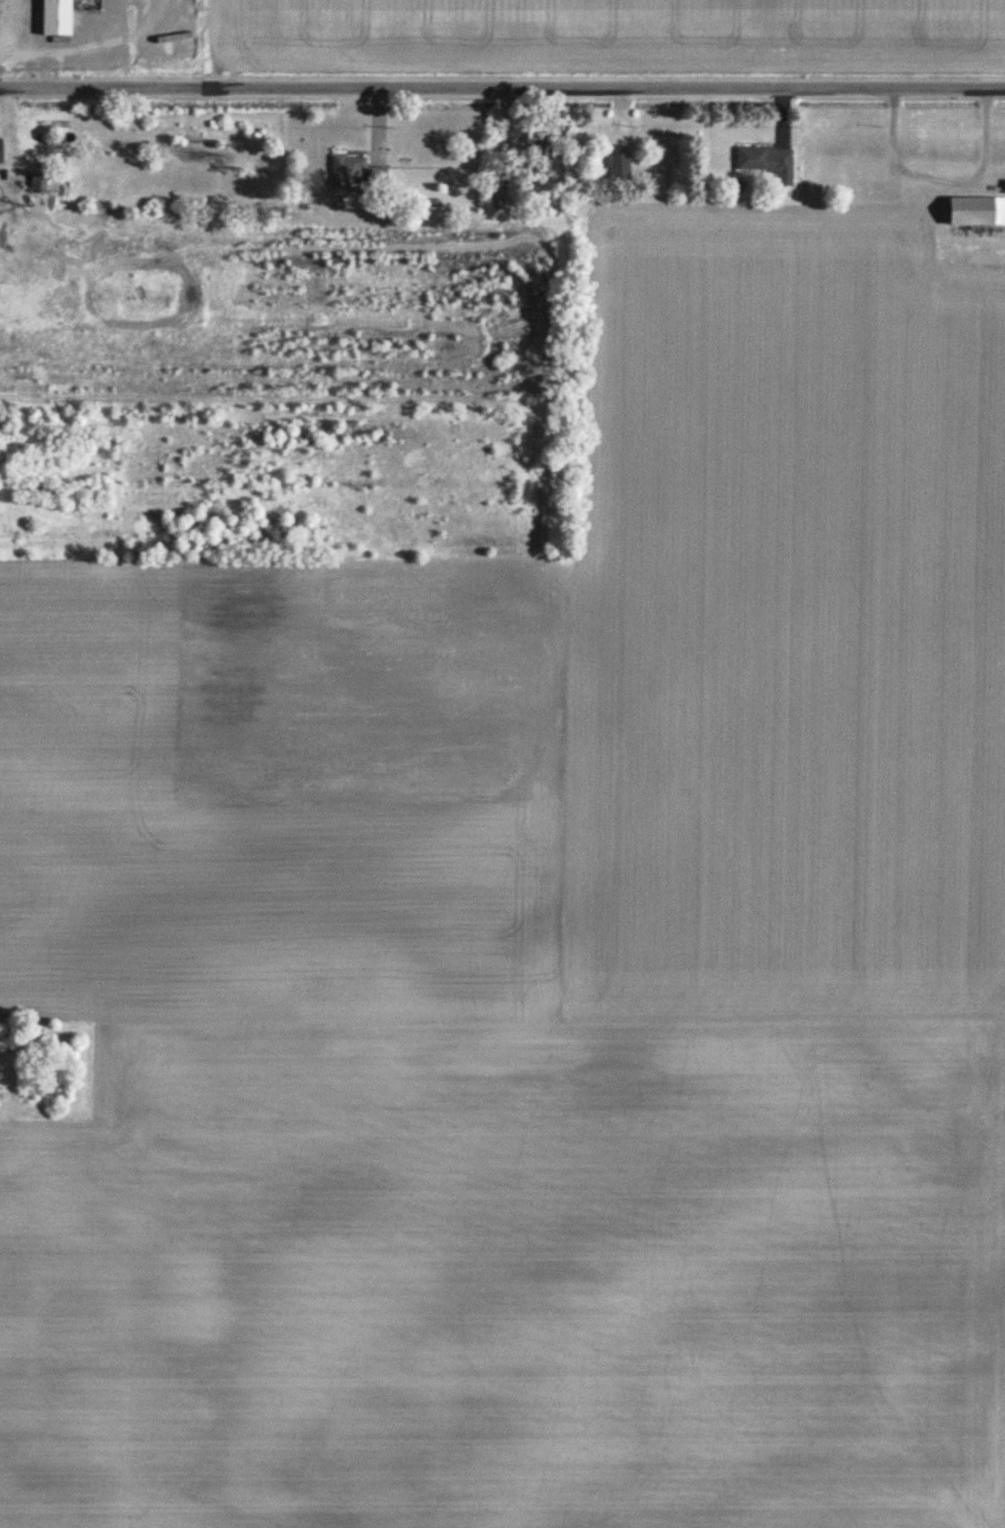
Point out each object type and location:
building: (55, 18)
road: (502, 89)
building: (539, 159)
building: (760, 160)
building: (618, 168)
building: (345, 172)
building: (377, 178)
building: (866, 178)
building: (1004, 188)
building: (975, 213)

